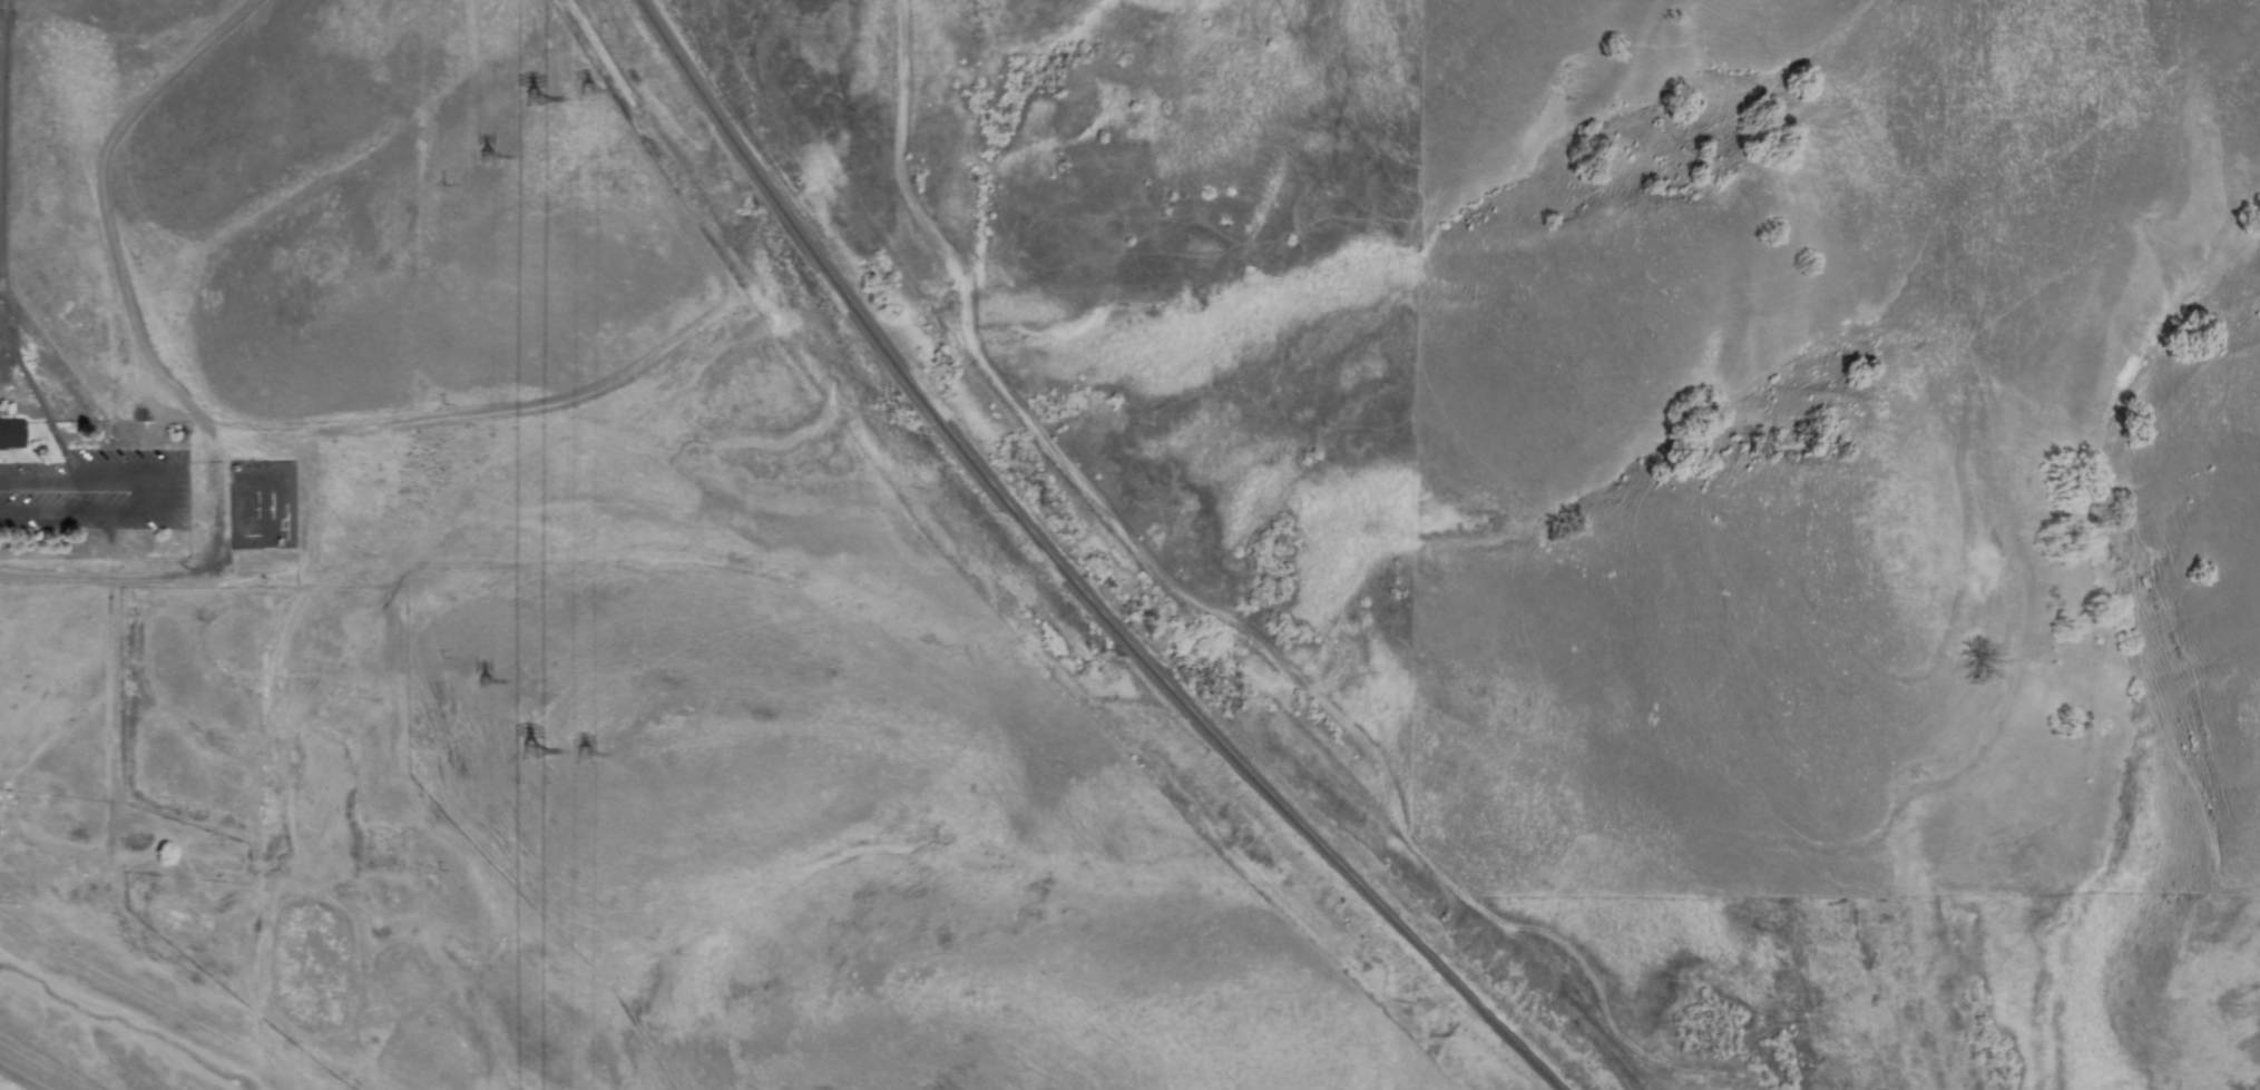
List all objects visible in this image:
power tower: (596, 94)
power tower: (537, 97)
power tower: (493, 156)
building: (11, 434)
road: (159, 491)
railway: (1069, 576)
power tower: (483, 681)
power tower: (529, 750)
power tower: (584, 755)

